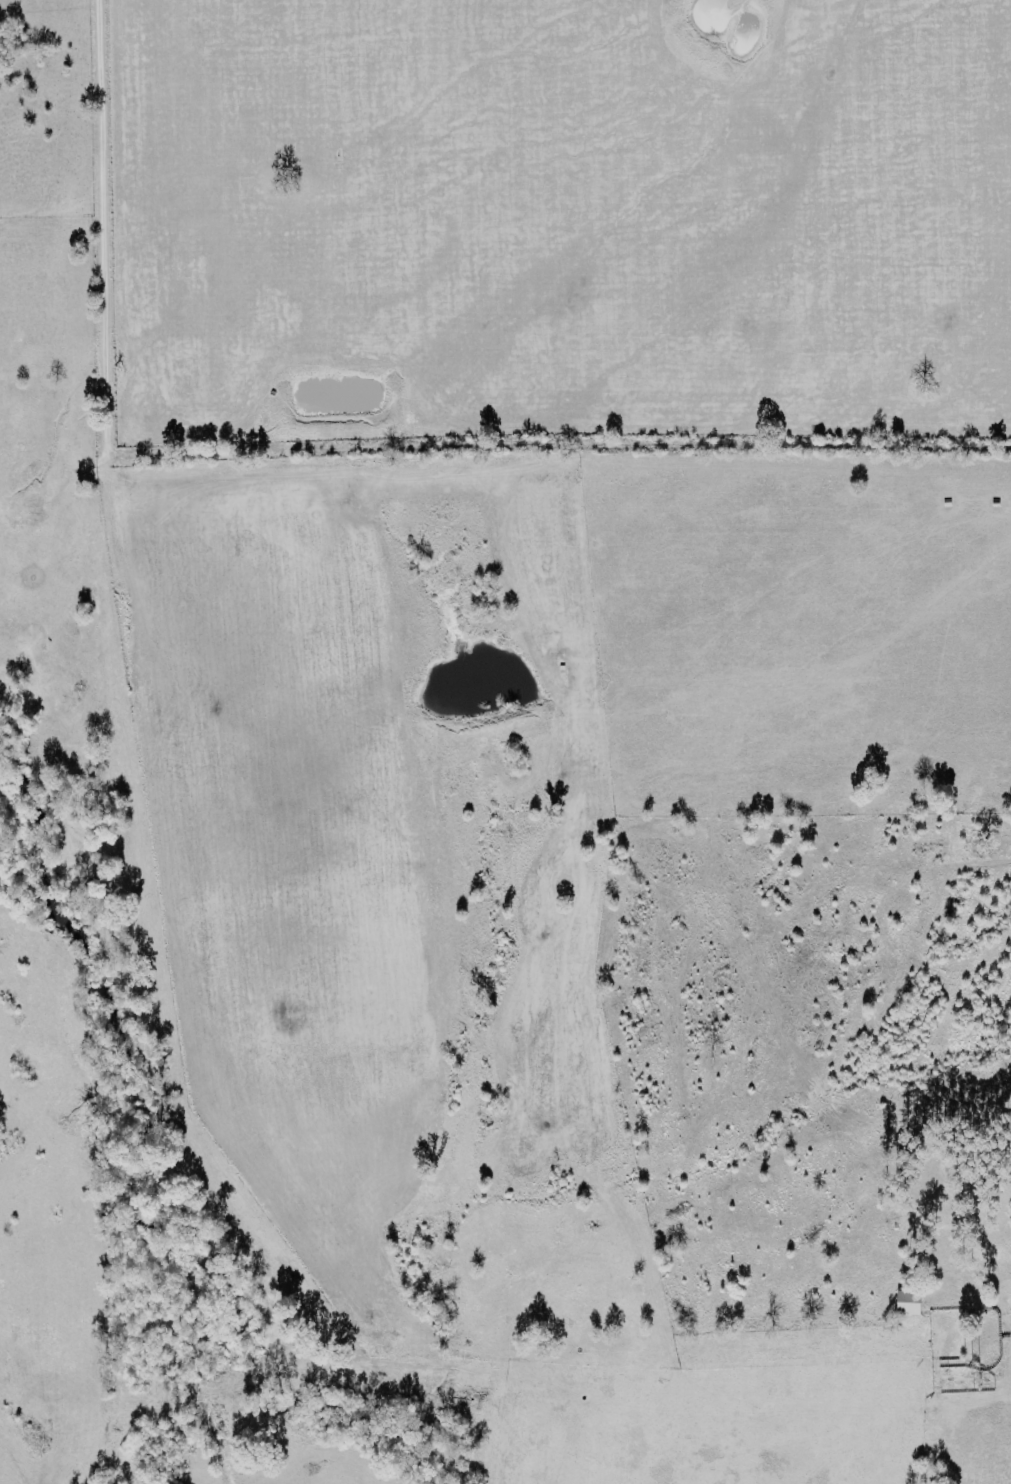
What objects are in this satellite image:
building: (910, 1303)

